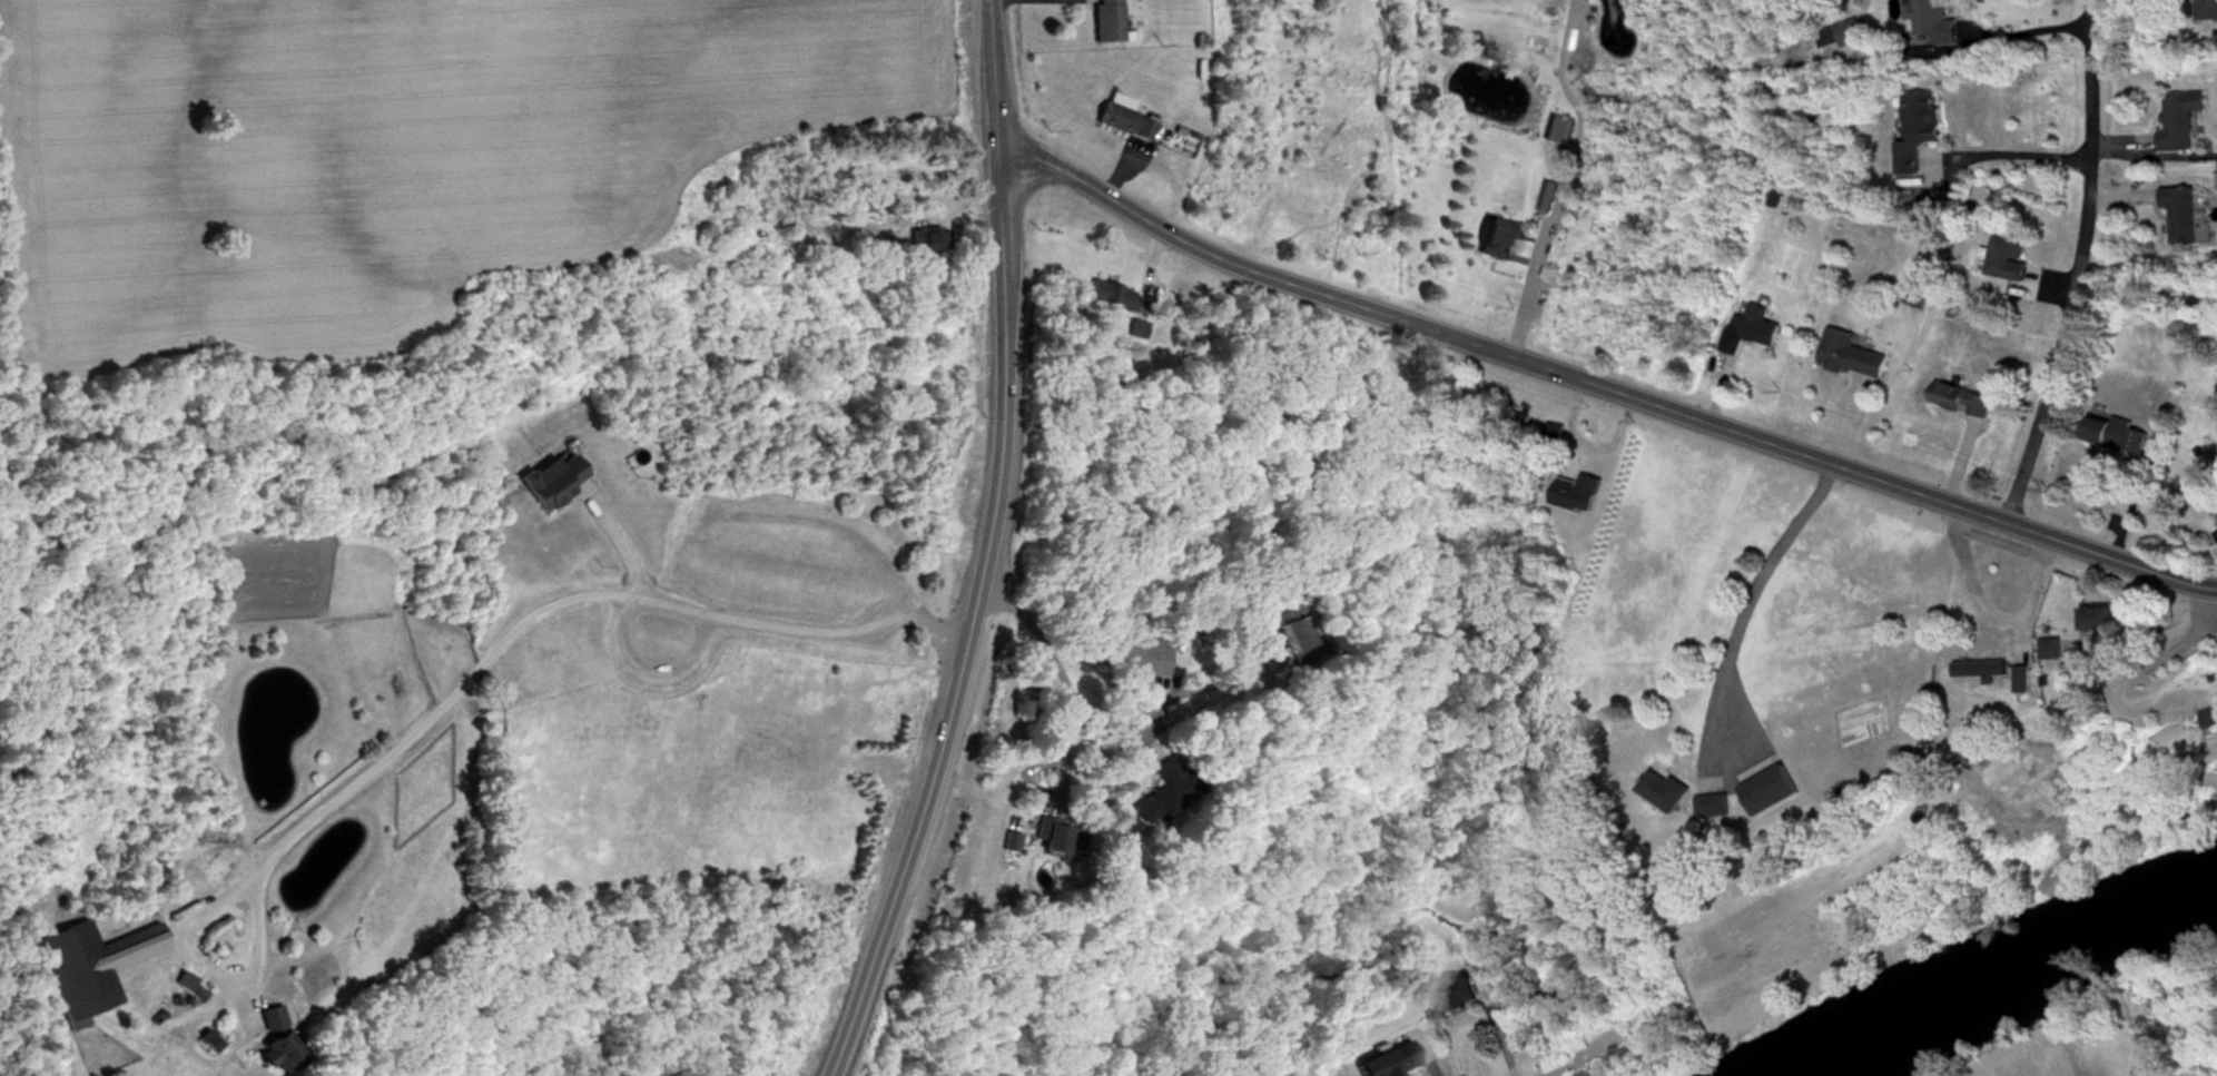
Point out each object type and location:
building: (2207, 11)
building: (1110, 22)
building: (1934, 24)
road: (1997, 31)
building: (1850, 33)
building: (1125, 122)
building: (2180, 122)
building: (1560, 132)
building: (1919, 132)
road: (2016, 148)
road: (1558, 200)
building: (2181, 216)
building: (927, 240)
building: (1497, 241)
building: (2008, 259)
road: (2073, 267)
building: (1113, 295)
building: (1917, 297)
building: (1753, 330)
building: (1852, 356)
road: (1600, 387)
building: (1962, 402)
building: (2116, 436)
building: (543, 482)
building: (1580, 494)
road: (619, 534)
road: (975, 550)
building: (1881, 571)
road: (545, 592)
road: (1751, 596)
road: (1997, 606)
building: (2099, 620)
building: (1289, 638)
building: (2052, 651)
road: (2176, 651)
building: (1136, 662)
building: (1982, 671)
building: (2023, 680)
road: (1090, 708)
building: (2209, 719)
building: (1663, 793)
building: (1162, 794)
building: (1714, 807)
building: (1060, 841)
building: (90, 968)
river: (1984, 976)
building: (1458, 996)
road: (964, 1016)
building: (275, 1042)
building: (1383, 1063)

